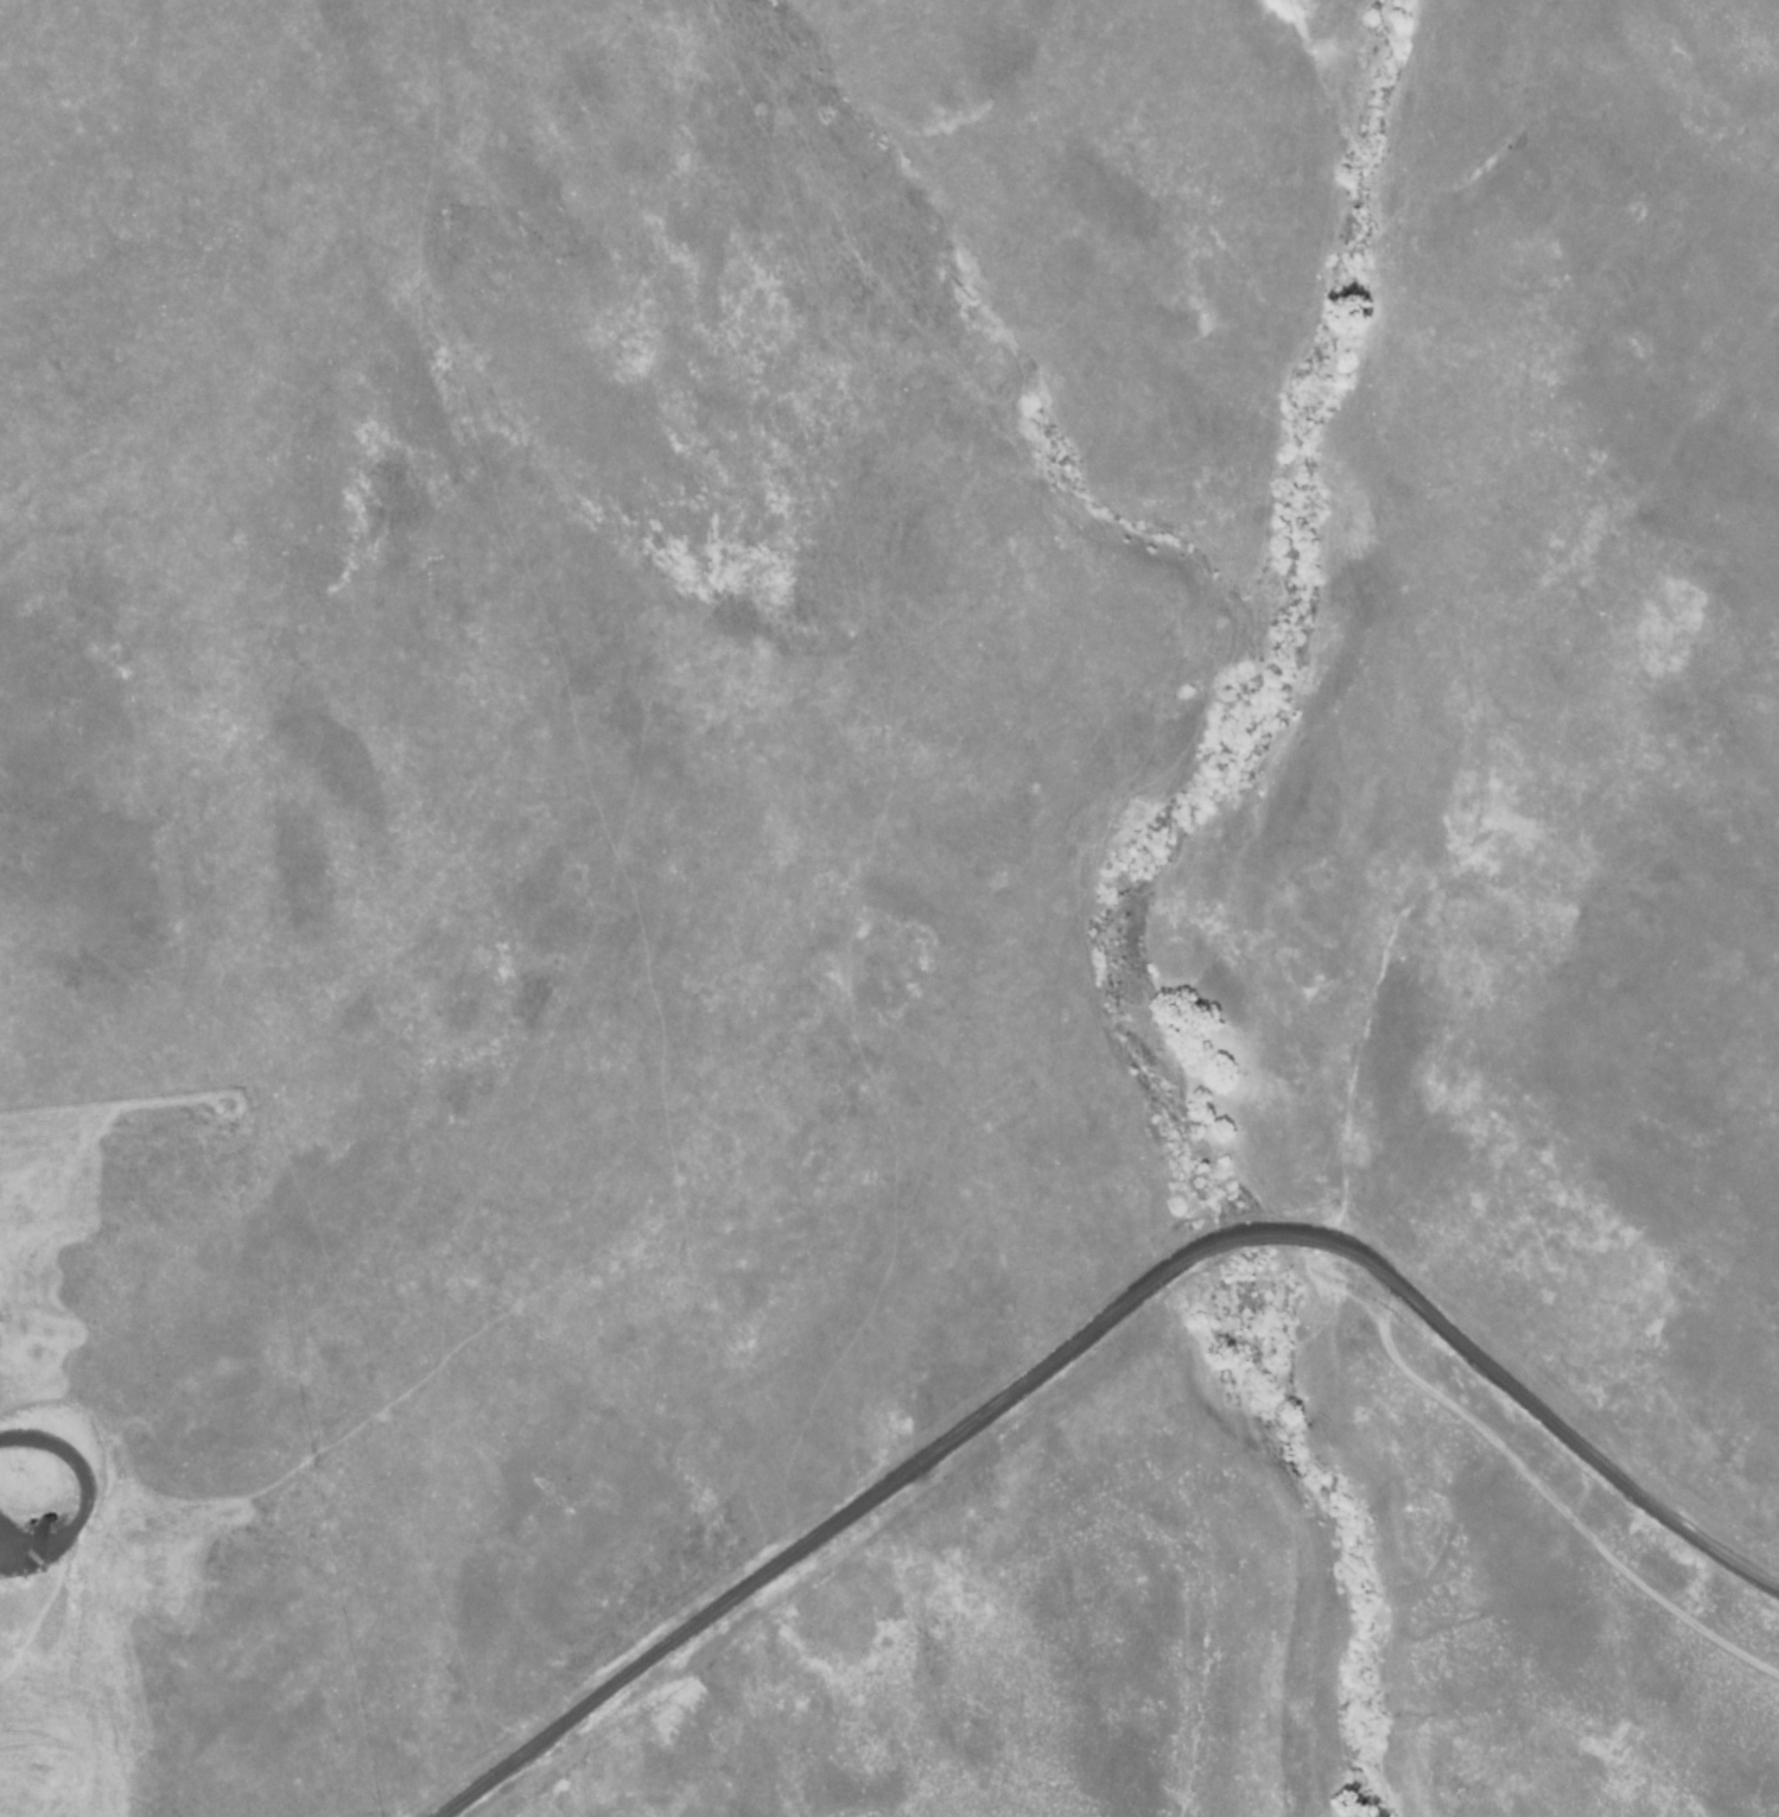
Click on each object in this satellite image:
road: (636, 914)
road: (1333, 1284)
road: (1097, 1317)
road: (83, 1491)
road: (1549, 1492)
parking lot: (19, 1545)
road: (37, 1607)
road: (68, 1753)

